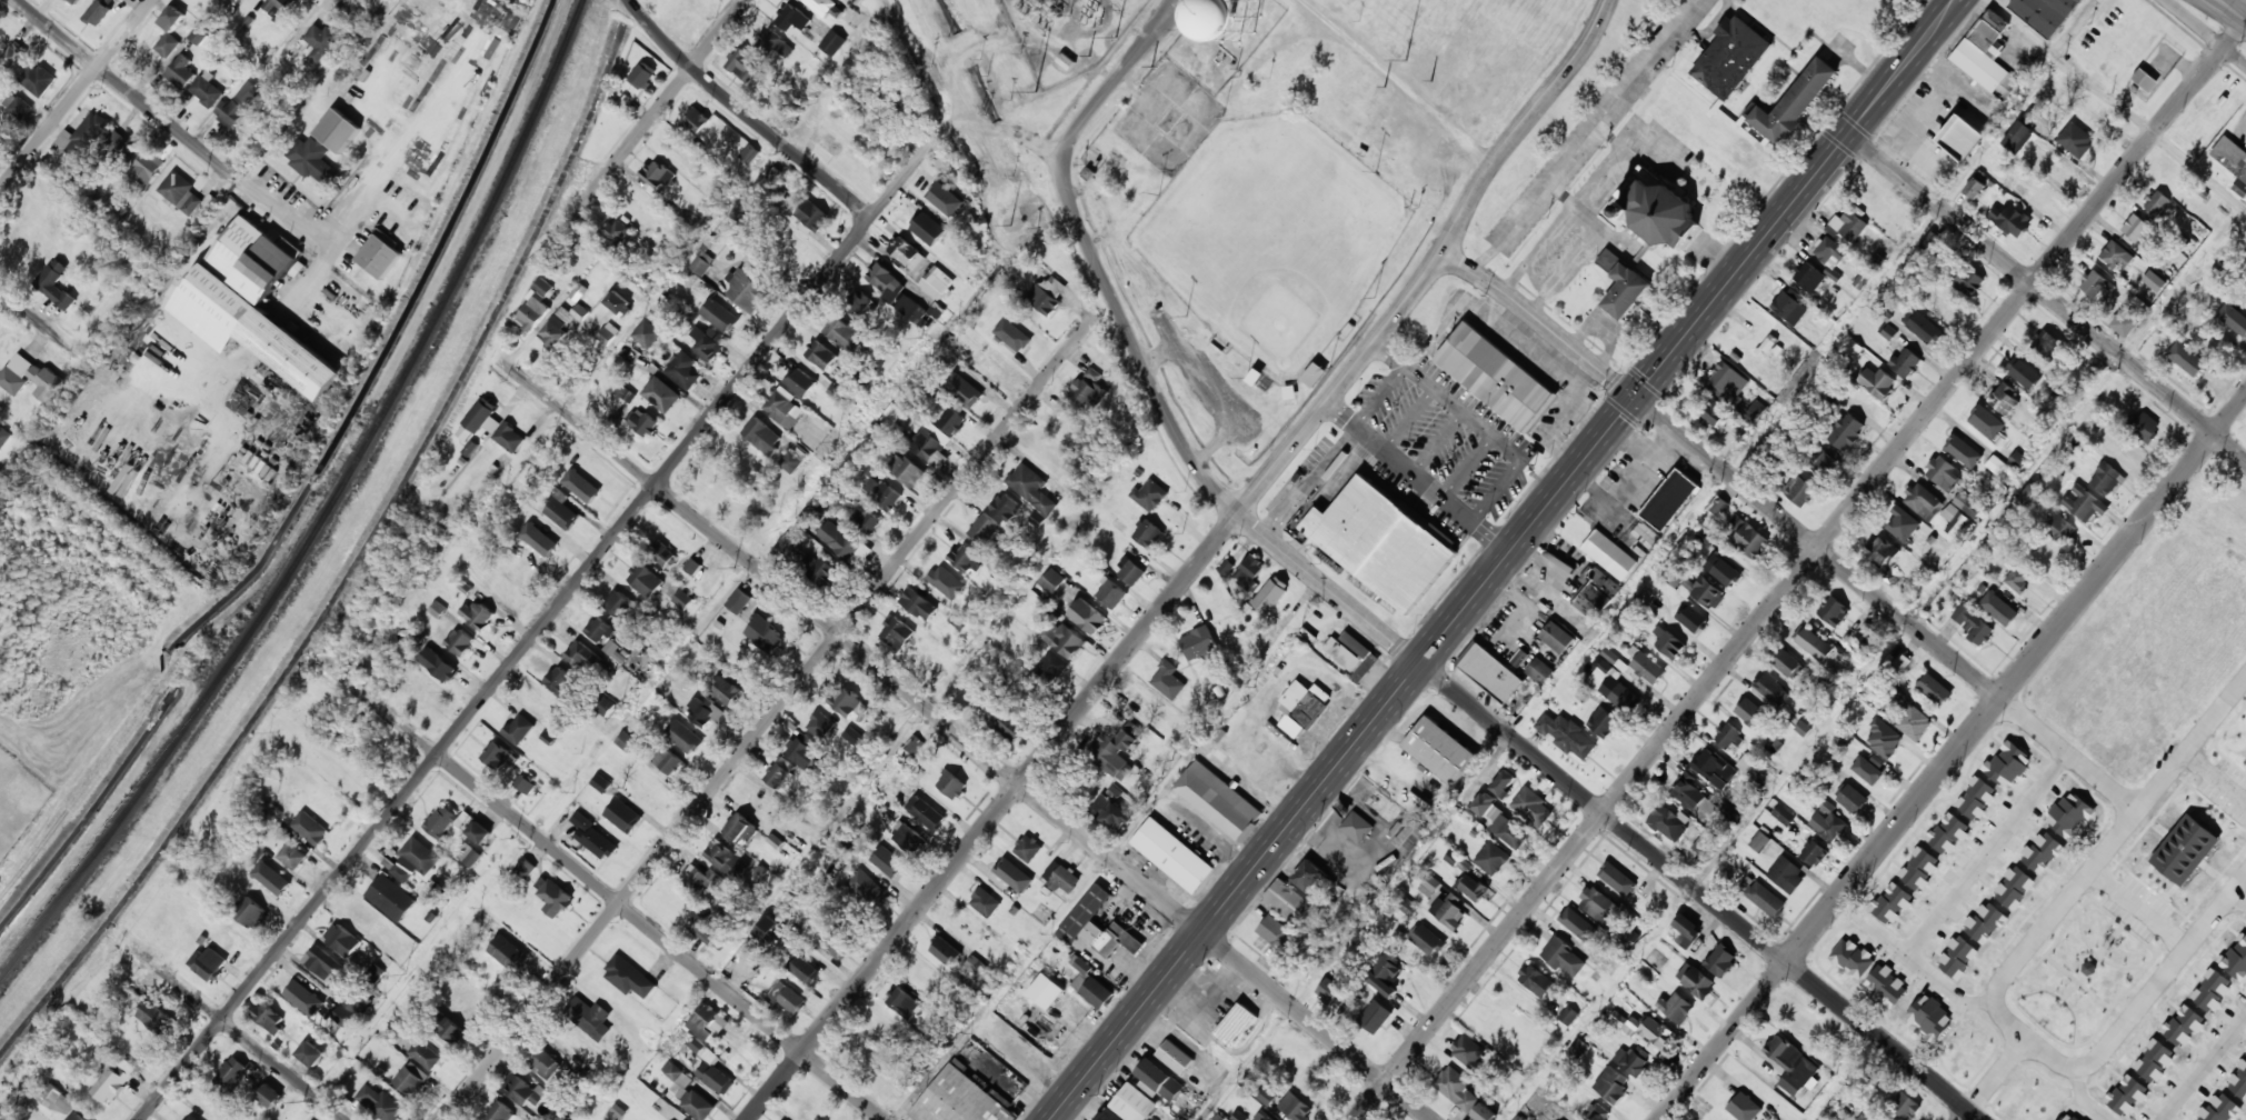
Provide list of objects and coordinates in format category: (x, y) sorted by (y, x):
building: (74, 1)
road: (636, 2)
road: (349, 4)
building: (277, 7)
building: (827, 7)
road: (2237, 7)
building: (98, 13)
building: (2045, 13)
building: (172, 18)
building: (792, 18)
building: (1231, 19)
water tower: (1228, 24)
road: (2207, 31)
power substation: (1068, 33)
building: (198, 36)
building: (320, 41)
building: (832, 42)
building: (168, 44)
building: (775, 44)
building: (12, 54)
building: (1986, 56)
building: (1730, 57)
building: (745, 66)
building: (181, 72)
building: (642, 74)
building: (38, 79)
building: (2145, 80)
building: (207, 89)
road: (129, 90)
road: (76, 93)
building: (1795, 102)
building: (238, 104)
building: (17, 106)
road: (660, 107)
road: (749, 116)
building: (693, 122)
building: (338, 130)
building: (83, 137)
building: (1960, 137)
building: (2018, 138)
building: (2075, 139)
building: (120, 143)
road: (1475, 150)
building: (750, 153)
building: (311, 160)
building: (2232, 161)
building: (147, 168)
building: (656, 176)
building: (1974, 188)
building: (180, 192)
building: (941, 202)
building: (2156, 203)
building: (1657, 211)
road: (1470, 214)
building: (811, 217)
building: (2010, 220)
building: (1849, 223)
building: (2135, 228)
building: (928, 229)
building: (618, 232)
road: (2214, 240)
building: (1828, 251)
building: (907, 253)
building: (380, 256)
building: (2117, 256)
road: (1095, 257)
building: (1607, 259)
building: (700, 266)
building: (1809, 277)
building: (1967, 280)
building: (54, 283)
building: (887, 283)
building: (938, 283)
building: (2096, 284)
park: (1259, 288)
building: (747, 290)
building: (1625, 291)
building: (578, 292)
building: (1048, 293)
road: (2048, 296)
building: (252, 303)
building: (618, 303)
building: (860, 304)
building: (1790, 306)
building: (535, 307)
building: (911, 309)
building: (936, 310)
building: (719, 316)
building: (2234, 318)
building: (2125, 323)
building: (561, 324)
road: (44, 326)
building: (1923, 326)
building: (1889, 332)
building: (608, 333)
building: (647, 333)
building: (847, 333)
building: (1012, 334)
building: (708, 342)
building: (2046, 346)
building: (820, 354)
building: (2186, 358)
building: (1906, 362)
building: (995, 364)
building: (683, 370)
building: (2023, 372)
building: (1315, 374)
building: (1496, 377)
building: (48, 378)
building: (1260, 380)
building: (800, 381)
building: (1727, 381)
building: (1877, 382)
building: (962, 390)
building: (1089, 390)
building: (661, 394)
building: (2003, 398)
building: (783, 407)
building: (1714, 411)
building: (1756, 411)
building: (480, 419)
building: (951, 421)
building: (1984, 421)
building: (642, 422)
building: (2145, 427)
building: (1846, 431)
building: (761, 436)
building: (3, 437)
building: (510, 437)
building: (929, 441)
building: (1963, 451)
building: (793, 458)
building: (1823, 458)
building: (2017, 460)
building: (1995, 464)
building: (906, 469)
building: (0, 472)
building: (1944, 472)
road: (1728, 474)
building: (2106, 479)
building: (581, 486)
building: (1031, 488)
building: (1799, 491)
building: (881, 492)
building: (1150, 494)
building: (2028, 496)
building: (1669, 499)
building: (1923, 501)
building: (2084, 503)
building: (1717, 504)
building: (1967, 504)
building: (1006, 507)
railway: (328, 509)
building: (560, 509)
building: (866, 519)
building: (1955, 520)
building: (1901, 524)
building: (2057, 528)
building: (985, 529)
building: (1148, 533)
building: (1746, 537)
building: (539, 539)
building: (839, 540)
building: (1382, 542)
building: (785, 547)
building: (1880, 551)
building: (662, 553)
building: (1609, 554)
building: (966, 560)
road: (1505, 560)
building: (690, 564)
building: (1227, 568)
building: (1248, 570)
building: (1721, 570)
building: (1130, 571)
road: (1800, 571)
building: (822, 572)
road: (582, 573)
building: (1893, 574)
building: (2017, 579)
building: (645, 580)
building: (1052, 581)
building: (946, 582)
road: (1179, 590)
building: (1597, 592)
building: (1110, 593)
building: (1708, 593)
building: (1271, 594)
building: (682, 599)
building: (738, 601)
building: (619, 603)
building: (918, 603)
building: (1998, 608)
building: (437, 610)
building: (1833, 610)
building: (476, 614)
building: (1087, 617)
building: (1690, 618)
building: (1973, 626)
building: (599, 629)
building: (1867, 630)
building: (765, 633)
building: (896, 633)
building: (1307, 636)
building: (1557, 637)
building: (1065, 640)
building: (460, 641)
building: (1198, 642)
building: (1668, 642)
building: (1813, 642)
building: (615, 651)
building: (579, 654)
building: (1352, 654)
building: (1787, 663)
building: (439, 664)
building: (1603, 664)
building: (1050, 667)
building: (1647, 668)
building: (1539, 671)
building: (1489, 672)
building: (559, 680)
building: (1168, 680)
building: (1769, 687)
building: (1934, 689)
building: (726, 690)
building: (1619, 694)
building: (847, 702)
building: (605, 706)
building: (1301, 707)
road: (777, 708)
building: (706, 711)
building: (1750, 712)
building: (1913, 720)
building: (1603, 722)
building: (820, 724)
building: (1010, 727)
building: (518, 729)
building: (852, 736)
building: (1129, 736)
building: (1568, 736)
building: (683, 737)
building: (1728, 737)
building: (1884, 738)
road: (966, 739)
building: (627, 741)
building: (914, 744)
building: (1440, 750)
building: (801, 753)
building: (499, 757)
building: (1110, 757)
road: (1954, 758)
building: (667, 761)
building: (2007, 763)
building: (1714, 768)
building: (1867, 770)
building: (779, 772)
building: (1503, 782)
building: (601, 783)
building: (525, 784)
building: (951, 784)
building: (1693, 794)
building: (1850, 798)
building: (1976, 798)
building: (1219, 800)
building: (1484, 803)
building: (1382, 806)
building: (1531, 807)
building: (925, 812)
building: (1109, 813)
building: (1784, 814)
building: (2069, 814)
building: (623, 816)
road: (1609, 818)
building: (442, 821)
building: (1668, 822)
building: (1828, 824)
building: (1357, 827)
building: (310, 828)
building: (741, 828)
building: (1509, 831)
building: (478, 832)
building: (1948, 833)
building: (1410, 836)
building: (907, 837)
building: (593, 838)
building: (1760, 841)
building: (1028, 848)
building: (2185, 849)
building: (1813, 852)
building: (2043, 852)
building: (468, 854)
building: (1172, 854)
building: (292, 856)
building: (1491, 858)
building: (726, 859)
building: (887, 860)
building: (412, 861)
building: (1458, 861)
building: (525, 869)
building: (1919, 869)
building: (1786, 873)
building: (1014, 874)
building: (1061, 877)
building: (272, 878)
building: (1617, 878)
building: (702, 879)
building: (866, 886)
building: (1429, 886)
building: (1471, 887)
building: (2014, 888)
road: (601, 890)
building: (1295, 891)
building: (390, 897)
building: (553, 897)
building: (1766, 899)
building: (985, 902)
building: (1891, 903)
building: (1598, 904)
building: (1407, 906)
building: (1448, 910)
building: (251, 913)
building: (785, 913)
building: (1985, 922)
building: (1578, 923)
building: (1097, 926)
building: (1686, 928)
building: (707, 930)
building: (768, 931)
building: (1276, 932)
building: (1426, 939)
building: (342, 940)
building: (836, 946)
building: (945, 951)
building: (510, 953)
building: (1564, 957)
building: (1957, 957)
building: (1853, 958)
building: (2236, 959)
building: (1720, 960)
building: (322, 962)
building: (208, 963)
building: (2088, 968)
building: (803, 970)
building: (1385, 973)
building: (628, 977)
building: (1536, 980)
building: (1695, 980)
building: (1090, 984)
building: (1886, 984)
building: (1328, 990)
building: (2212, 990)
building: (1046, 991)
building: (788, 997)
building: (305, 998)
building: (349, 998)
building: (902, 1002)
building: (1676, 1007)
building: (1375, 1016)
building: (1568, 1016)
building: (156, 1017)
building: (343, 1017)
building: (589, 1017)
building: (1929, 1017)
building: (269, 1018)
building: (707, 1022)
building: (1236, 1024)
building: (2183, 1026)
building: (448, 1028)
road: (237, 1030)
building: (1650, 1031)
building: (1469, 1052)
building: (311, 1053)
building: (425, 1054)
building: (1175, 1057)
building: (2154, 1060)
building: (541, 1061)
building: (1629, 1061)
building: (1791, 1064)
building: (711, 1068)
building: (231, 1074)
building: (411, 1079)
building: (1158, 1080)
building: (2238, 1081)
building: (108, 1083)
building: (1611, 1084)
building: (1456, 1088)
building: (522, 1090)
building: (688, 1092)
building: (2127, 1094)
building: (269, 1096)
building: (1266, 1096)
building: (961, 1098)
building: (58, 1101)
building: (381, 1103)
building: (1134, 1103)
building: (1904, 1104)
building: (1295, 1107)
building: (1744, 1107)
building: (2219, 1108)
building: (500, 1112)
building: (1596, 1112)
building: (1484, 1113)
building: (1110, 1116)
building: (1238, 1116)
building: (1264, 1116)
building: (1867, 1116)
road: (1965, 1116)
building: (73, 1117)
building: (1219, 1117)
building: (2069, 1117)
building: (192, 1118)
building: (1518, 1118)
building: (1561, 1119)

